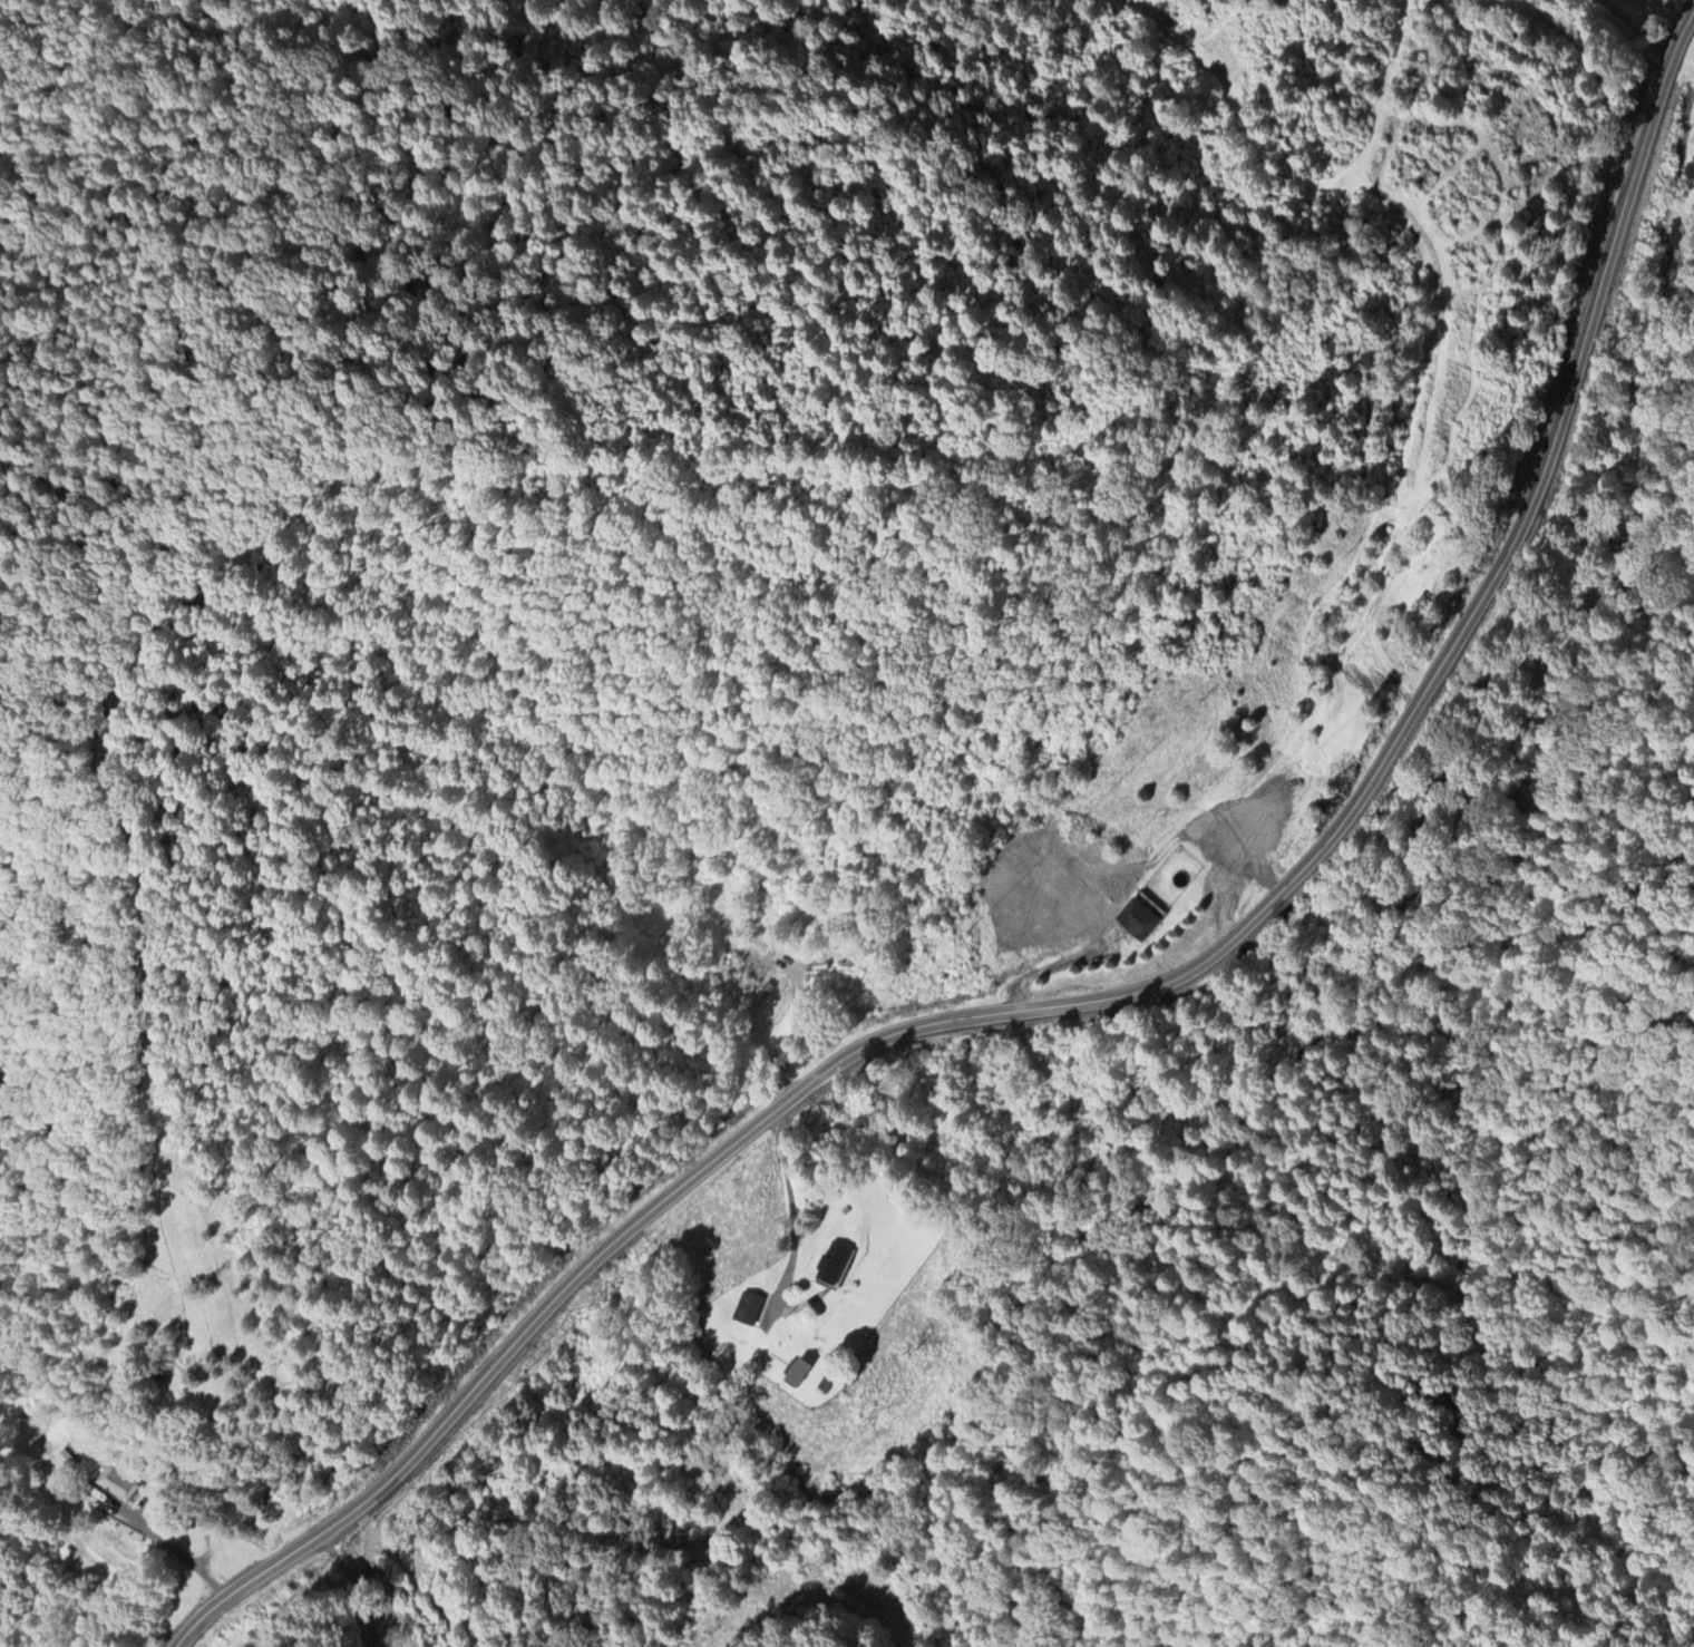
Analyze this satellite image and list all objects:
crop: (1411, 183)
road: (271, 534)
building: (1396, 539)
road: (1369, 649)
building: (1308, 748)
building: (1137, 916)
road: (1053, 964)
road: (1120, 996)
road: (796, 1222)
building: (835, 1261)
building: (746, 1305)
building: (796, 1368)
building: (824, 1382)
building: (117, 1480)
road: (356, 1587)

